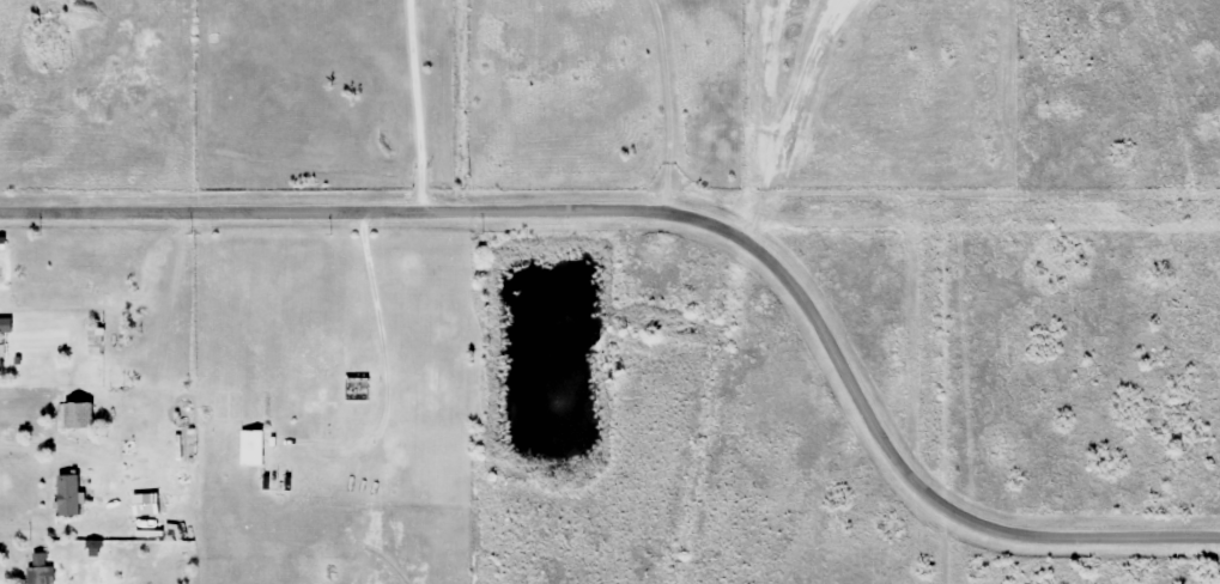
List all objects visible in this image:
building: (212, 20)
road: (684, 215)
building: (356, 389)
building: (126, 408)
building: (78, 418)
building: (250, 448)
building: (274, 480)
building: (38, 574)

